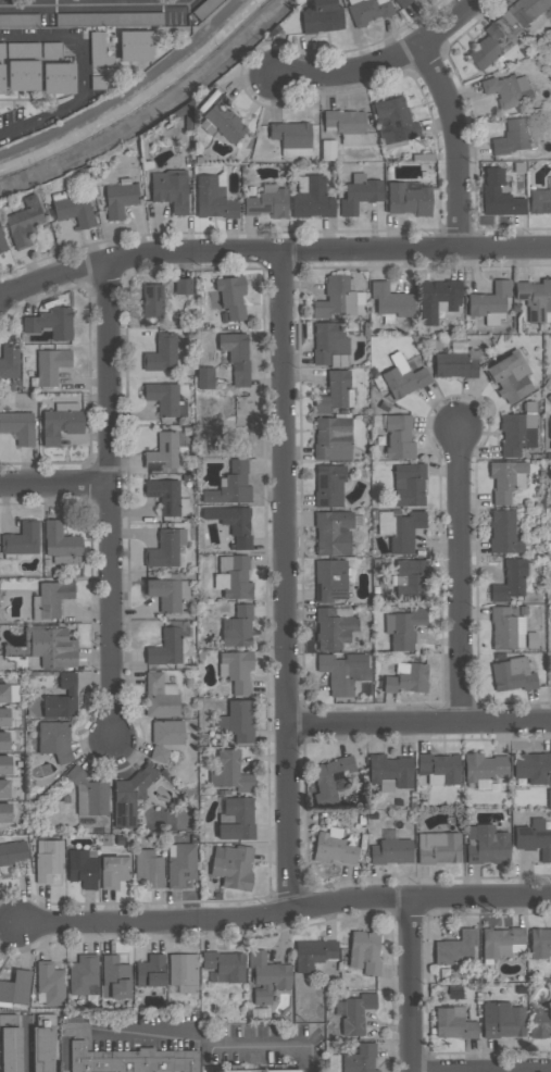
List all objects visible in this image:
building: (402, 2)
road: (97, 5)
building: (367, 11)
building: (528, 12)
building: (321, 16)
building: (108, 17)
building: (18, 20)
building: (135, 45)
building: (488, 47)
building: (1, 49)
building: (52, 49)
building: (98, 49)
building: (23, 50)
road: (381, 57)
road: (80, 72)
building: (23, 74)
building: (58, 77)
building: (1, 78)
building: (508, 90)
building: (224, 120)
building: (393, 120)
building: (347, 125)
building: (512, 136)
building: (291, 137)
road: (455, 141)
building: (170, 189)
building: (360, 194)
building: (499, 195)
building: (213, 197)
building: (311, 198)
building: (409, 198)
building: (120, 199)
building: (540, 199)
building: (267, 202)
building: (74, 210)
building: (24, 223)
building: (1, 244)
road: (272, 248)
building: (183, 286)
building: (228, 297)
building: (335, 298)
building: (535, 298)
building: (438, 299)
building: (152, 300)
building: (391, 301)
building: (490, 302)
building: (51, 323)
building: (329, 344)
building: (162, 353)
building: (236, 356)
building: (456, 361)
building: (9, 362)
building: (50, 365)
building: (205, 377)
building: (510, 377)
building: (404, 382)
building: (335, 391)
building: (163, 397)
building: (60, 422)
building: (18, 426)
building: (549, 432)
building: (516, 433)
building: (399, 437)
building: (333, 438)
building: (165, 450)
building: (506, 479)
road: (54, 481)
building: (409, 484)
building: (230, 485)
building: (328, 485)
building: (167, 497)
road: (109, 499)
building: (233, 523)
building: (503, 532)
building: (333, 533)
building: (21, 539)
building: (60, 539)
building: (165, 548)
building: (66, 559)
road: (459, 575)
building: (233, 576)
road: (283, 578)
building: (330, 579)
building: (411, 581)
building: (510, 581)
building: (167, 593)
building: (51, 599)
building: (237, 627)
building: (334, 627)
building: (404, 627)
building: (506, 628)
building: (167, 646)
building: (52, 647)
building: (236, 670)
building: (342, 671)
building: (512, 674)
building: (406, 677)
building: (4, 693)
building: (160, 696)
building: (62, 699)
building: (4, 718)
building: (237, 721)
road: (416, 721)
building: (165, 737)
building: (54, 739)
building: (3, 740)
building: (4, 764)
building: (531, 766)
building: (439, 769)
building: (483, 769)
building: (229, 772)
building: (390, 772)
building: (333, 774)
building: (3, 788)
building: (89, 795)
building: (127, 798)
building: (4, 812)
building: (237, 819)
building: (534, 838)
building: (486, 845)
building: (333, 847)
building: (438, 848)
building: (391, 849)
building: (15, 857)
building: (48, 859)
building: (180, 864)
building: (233, 867)
building: (83, 868)
building: (149, 868)
building: (114, 871)
road: (284, 909)
building: (502, 942)
building: (540, 943)
building: (458, 948)
building: (364, 951)
building: (313, 953)
building: (225, 965)
building: (150, 971)
building: (184, 972)
building: (83, 974)
building: (267, 976)
building: (114, 977)
building: (50, 983)
road: (412, 984)
building: (15, 987)
building: (356, 1013)
building: (503, 1020)
building: (453, 1023)
building: (540, 1023)
road: (183, 1034)
road: (27, 1047)
building: (10, 1049)
building: (41, 1049)
building: (130, 1059)
building: (360, 1059)
building: (281, 1070)
road: (481, 1070)
building: (230, 1071)

